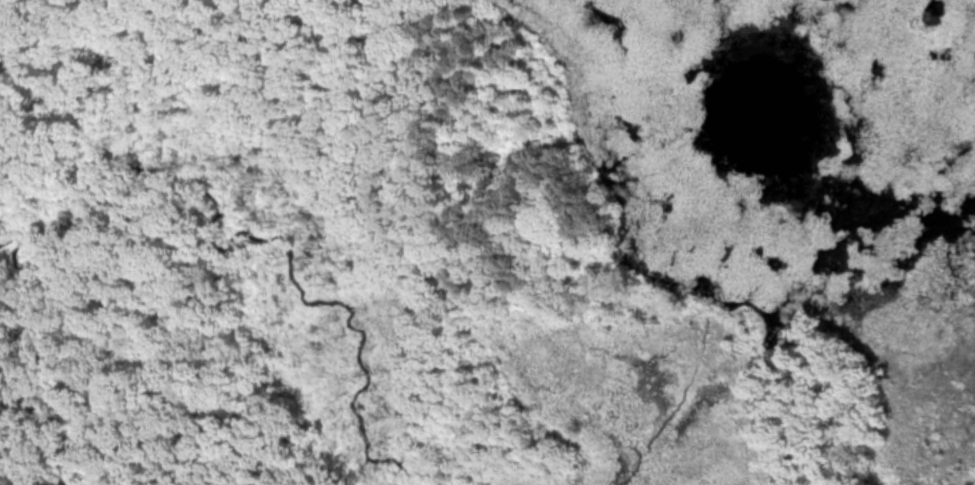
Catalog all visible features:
park: (487, 242)
road: (406, 249)

